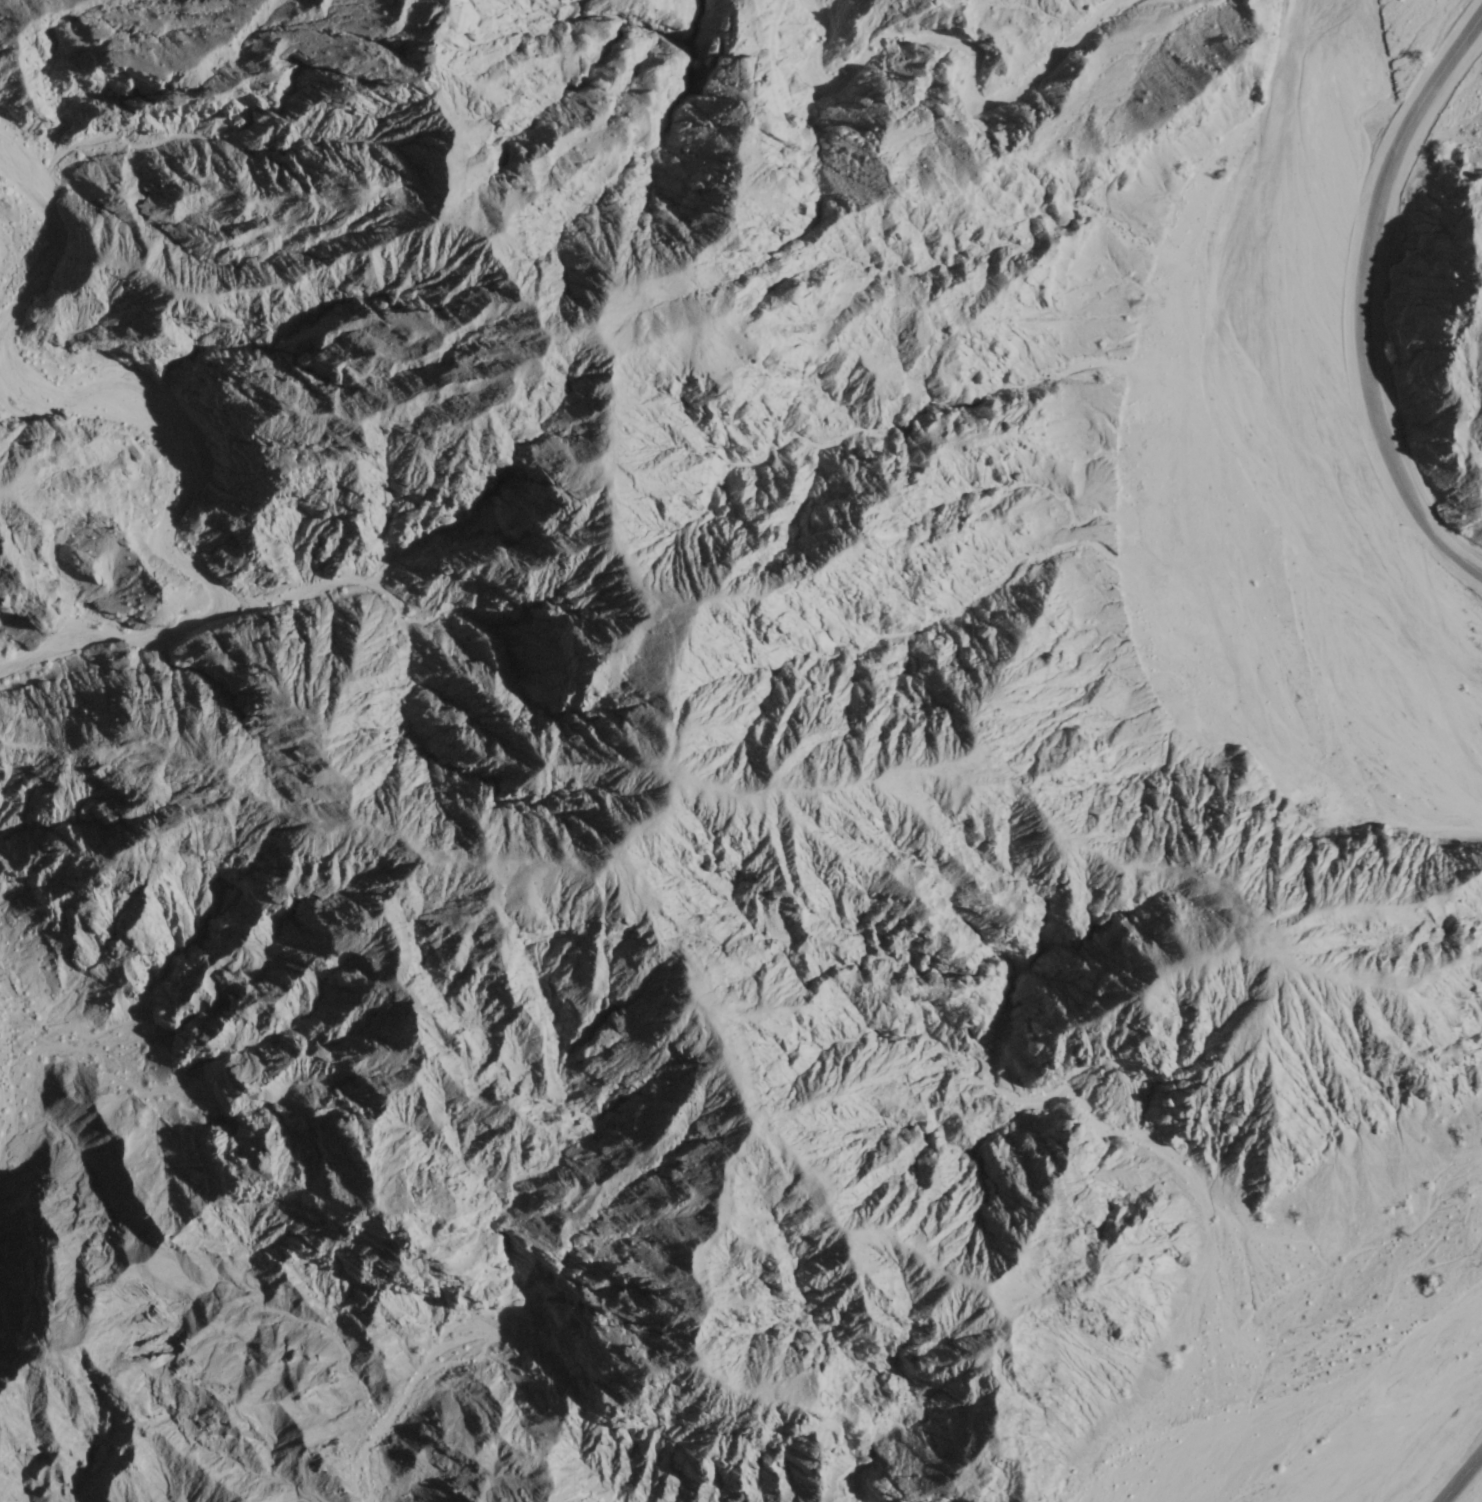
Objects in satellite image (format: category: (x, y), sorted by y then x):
road: (1365, 297)
road: (1459, 1475)

